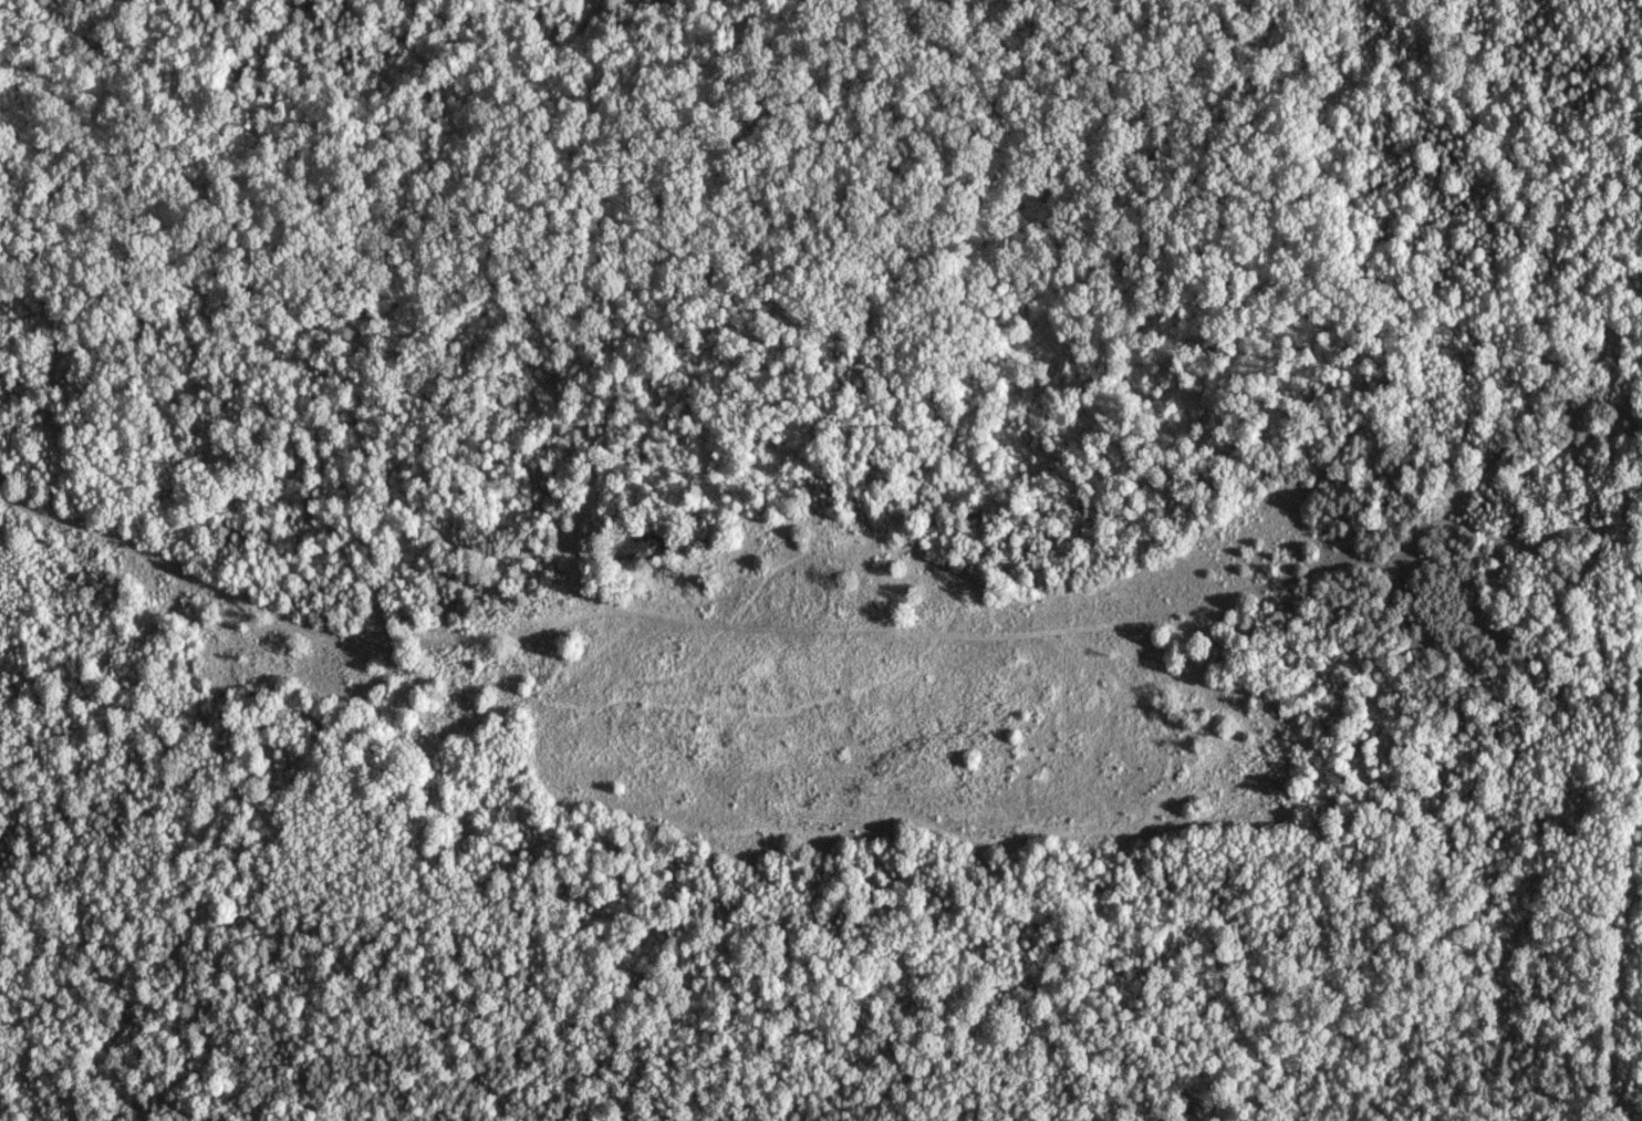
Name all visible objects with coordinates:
road: (1538, 316)

